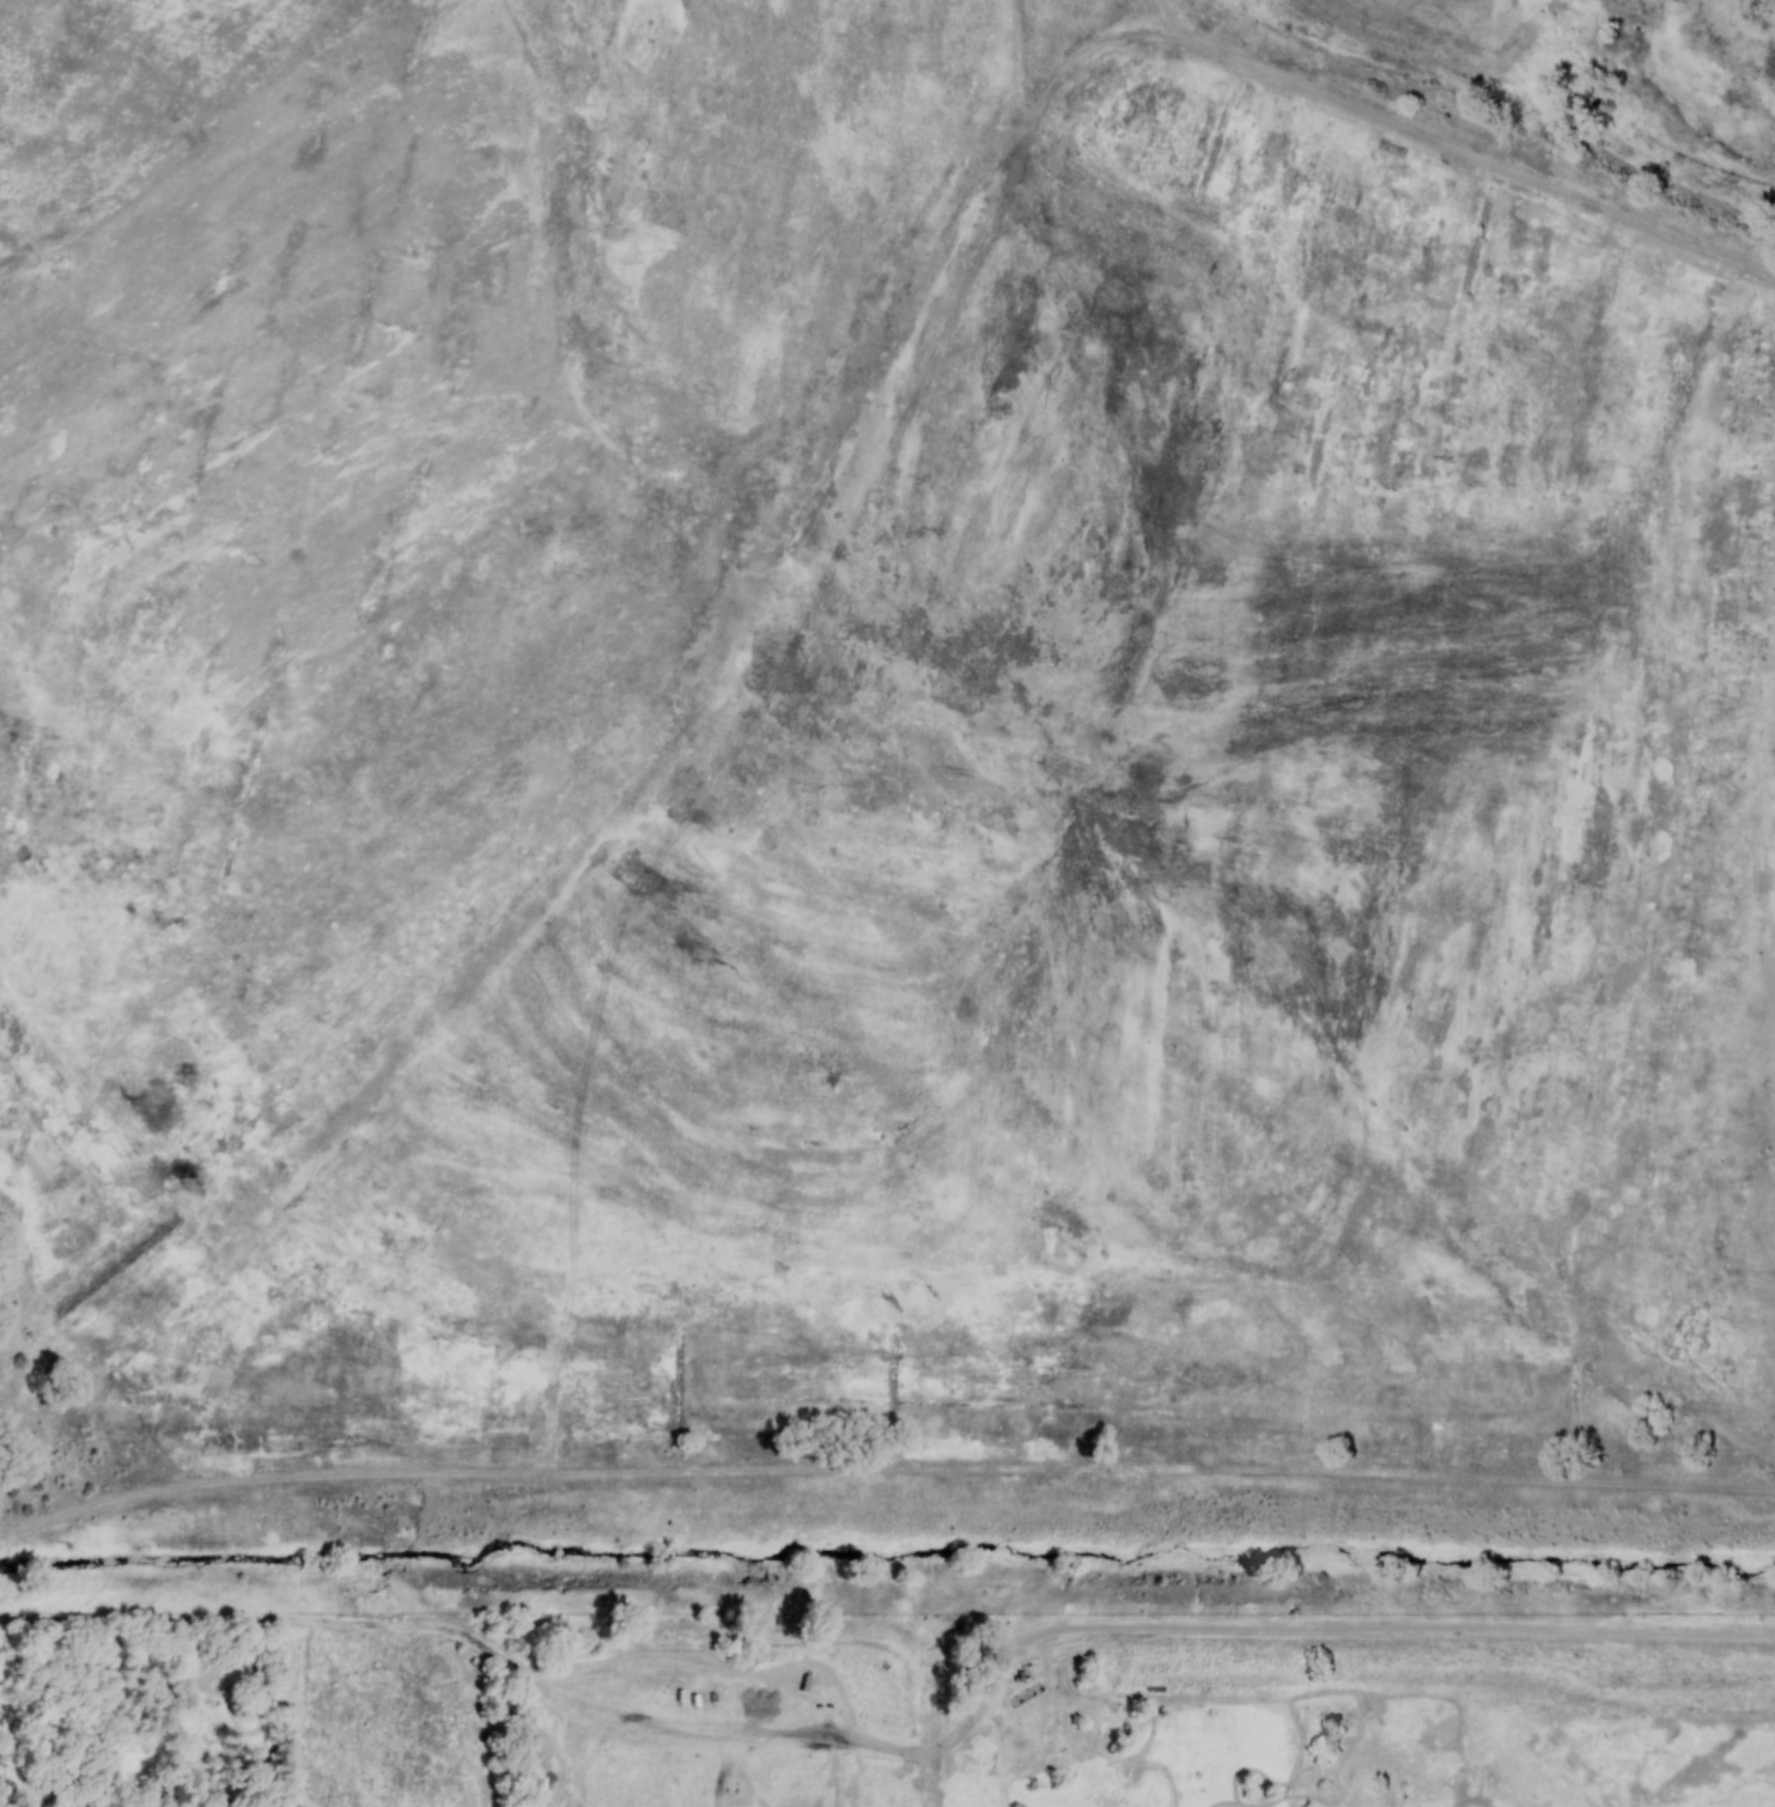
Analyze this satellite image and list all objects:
landfill: (890, 761)
road: (1397, 1626)
park: (894, 1700)

